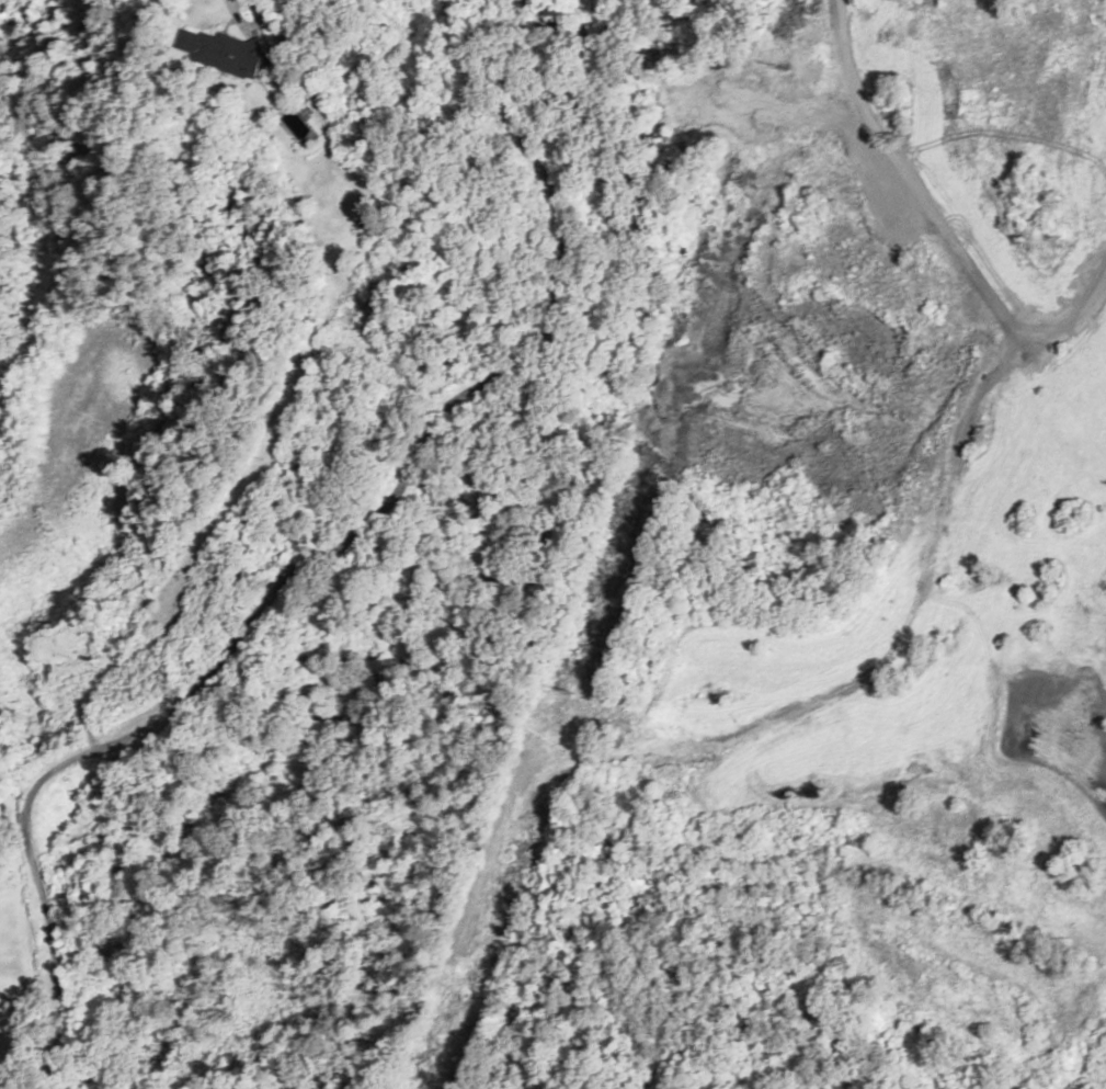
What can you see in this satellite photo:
building: (227, 53)

